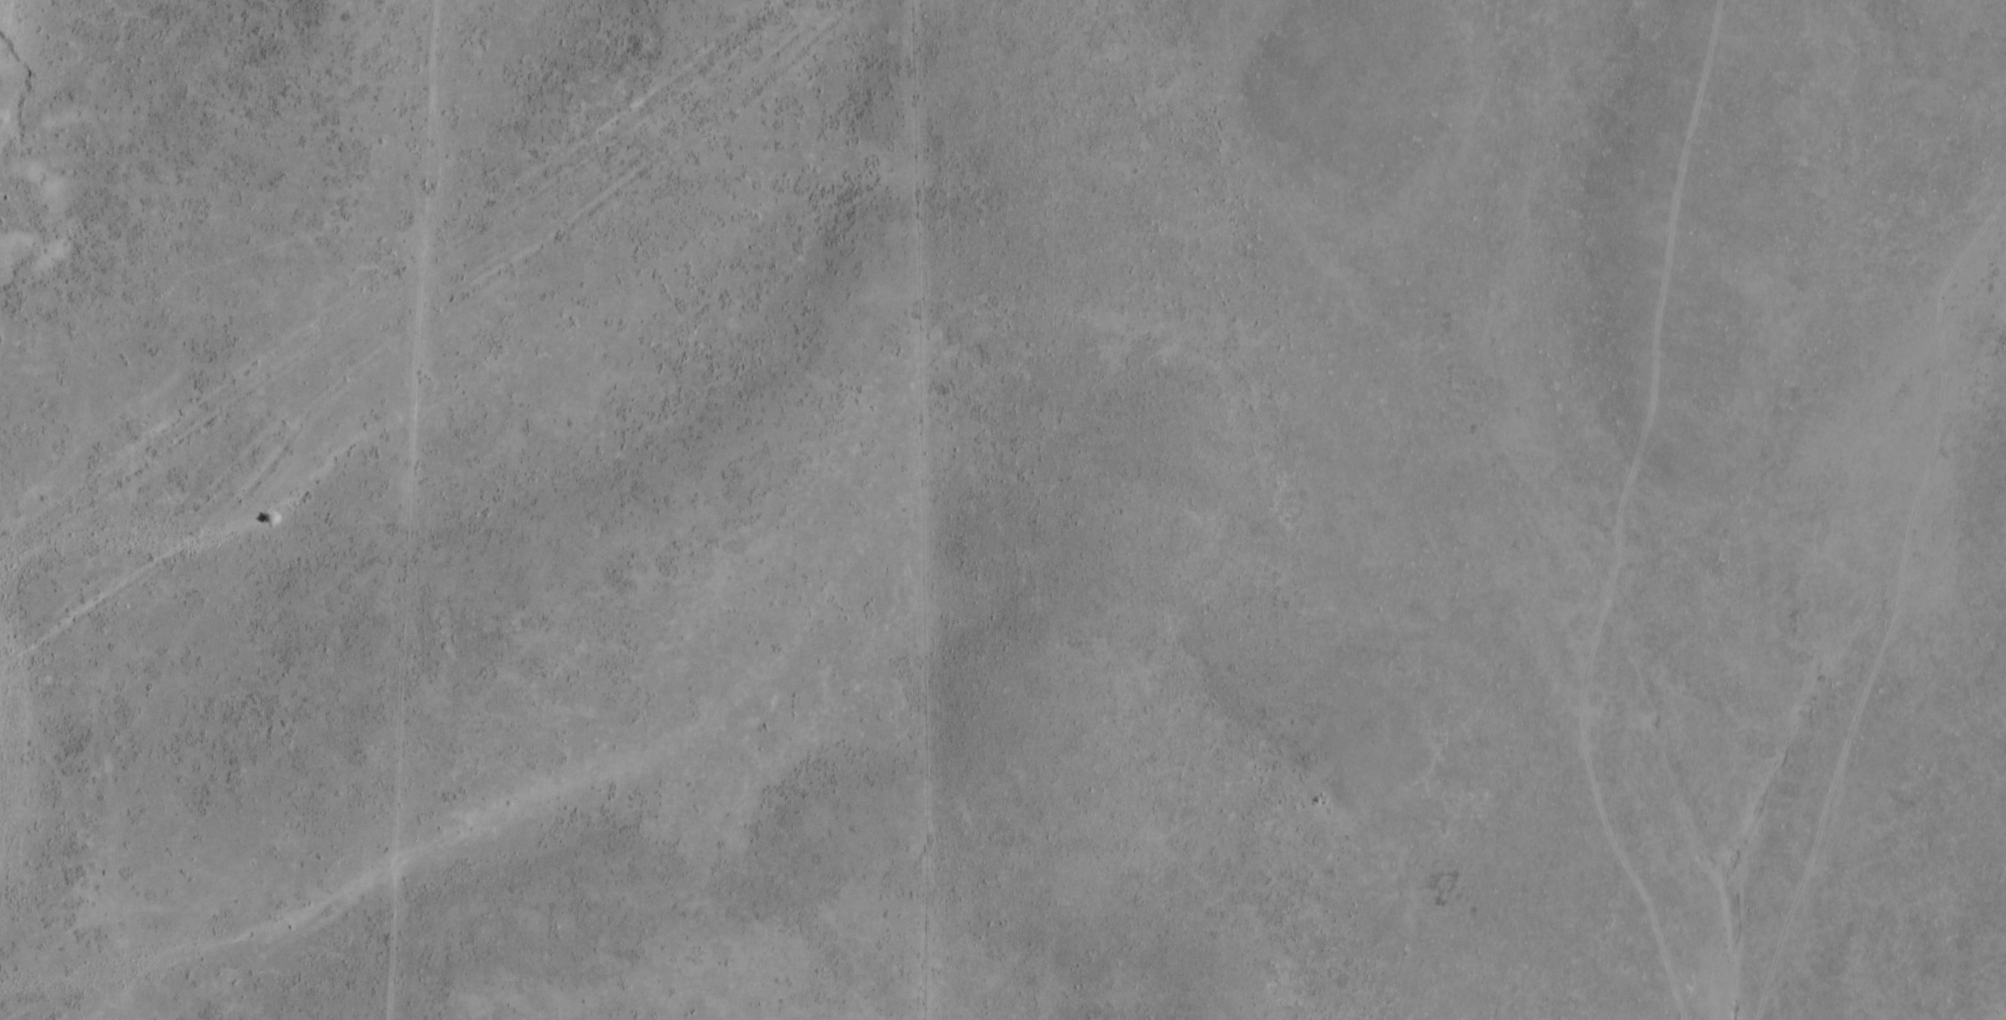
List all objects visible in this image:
road: (389, 296)
road: (1585, 510)
road: (981, 520)

